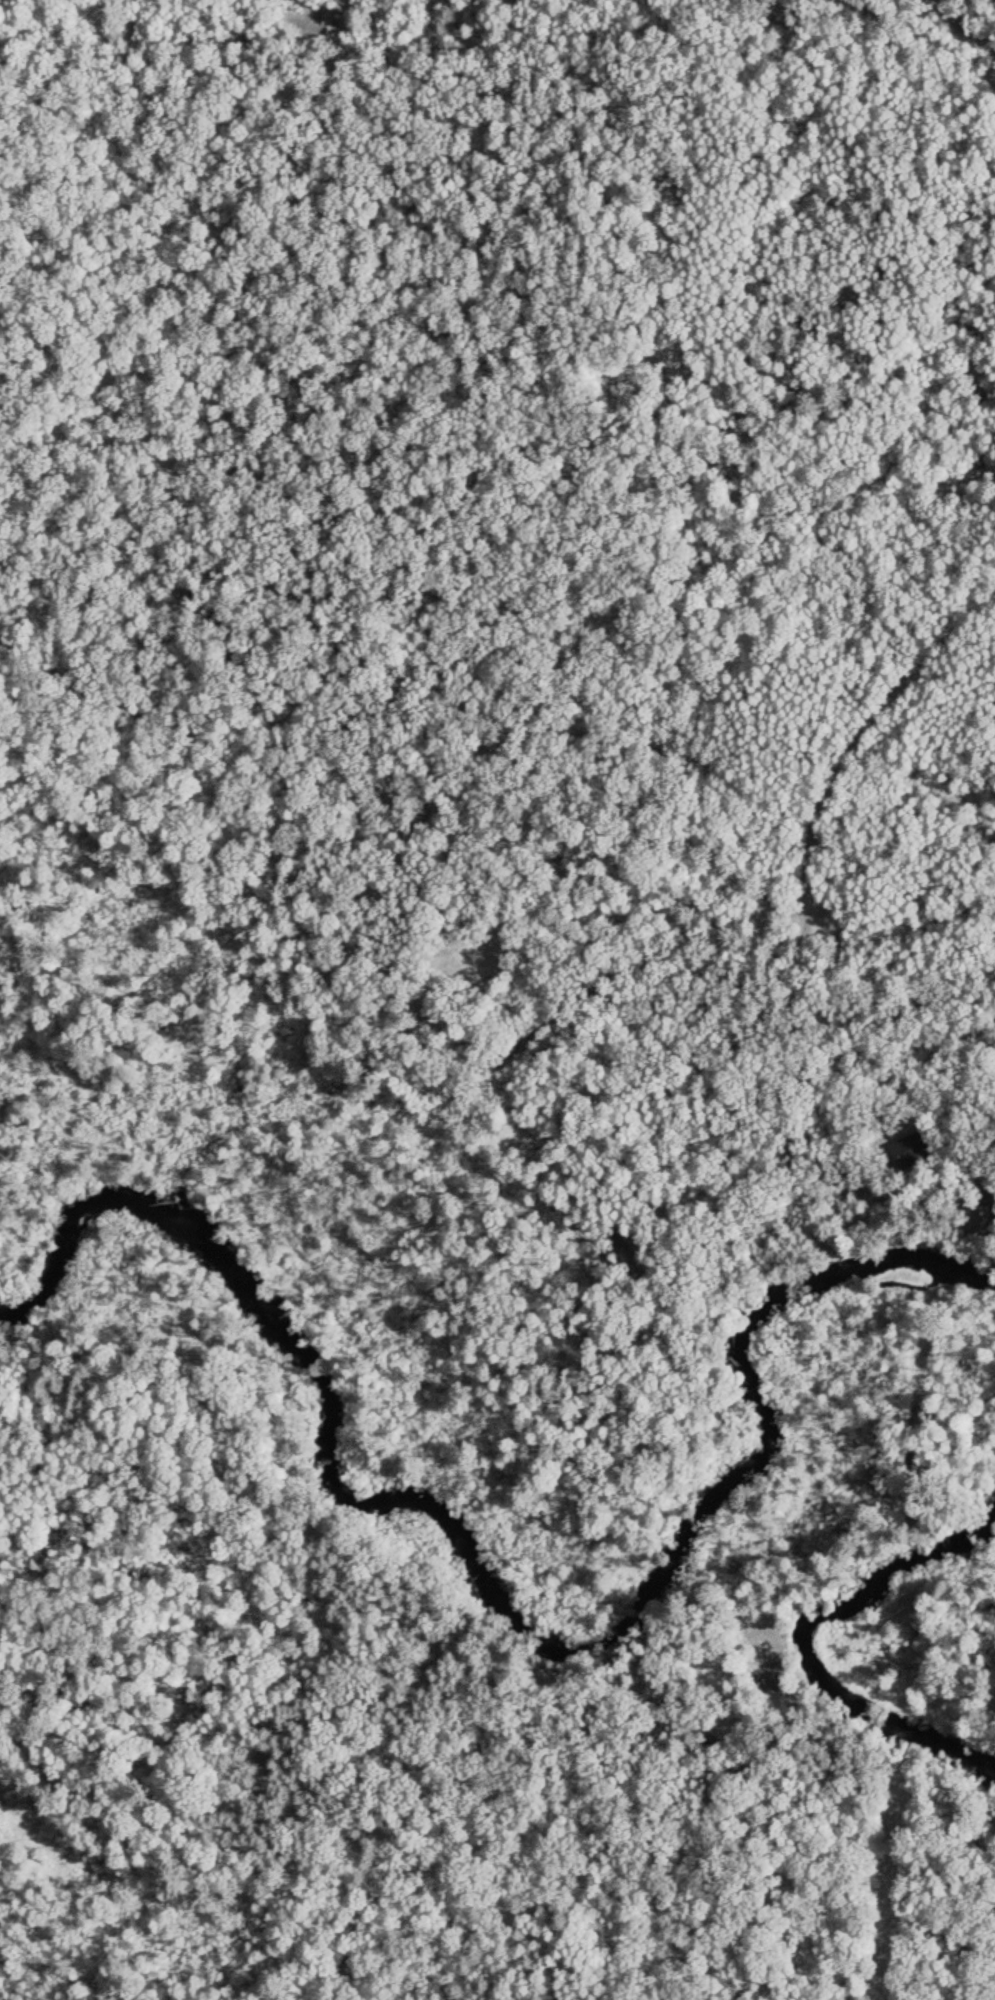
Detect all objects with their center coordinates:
road: (868, 746)
river: (515, 1605)
river: (808, 1649)
building: (770, 1676)
road: (450, 1730)

